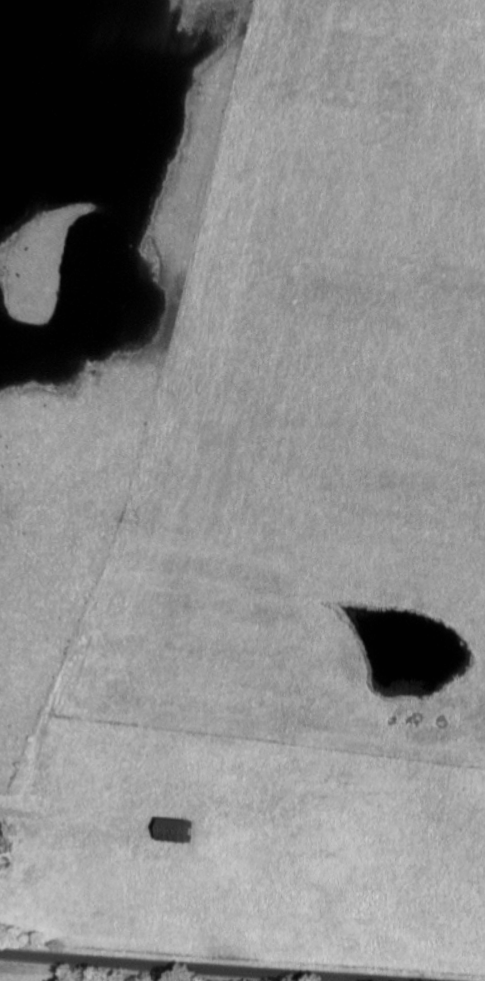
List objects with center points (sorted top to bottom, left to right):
building: (179, 830)
road: (187, 967)

